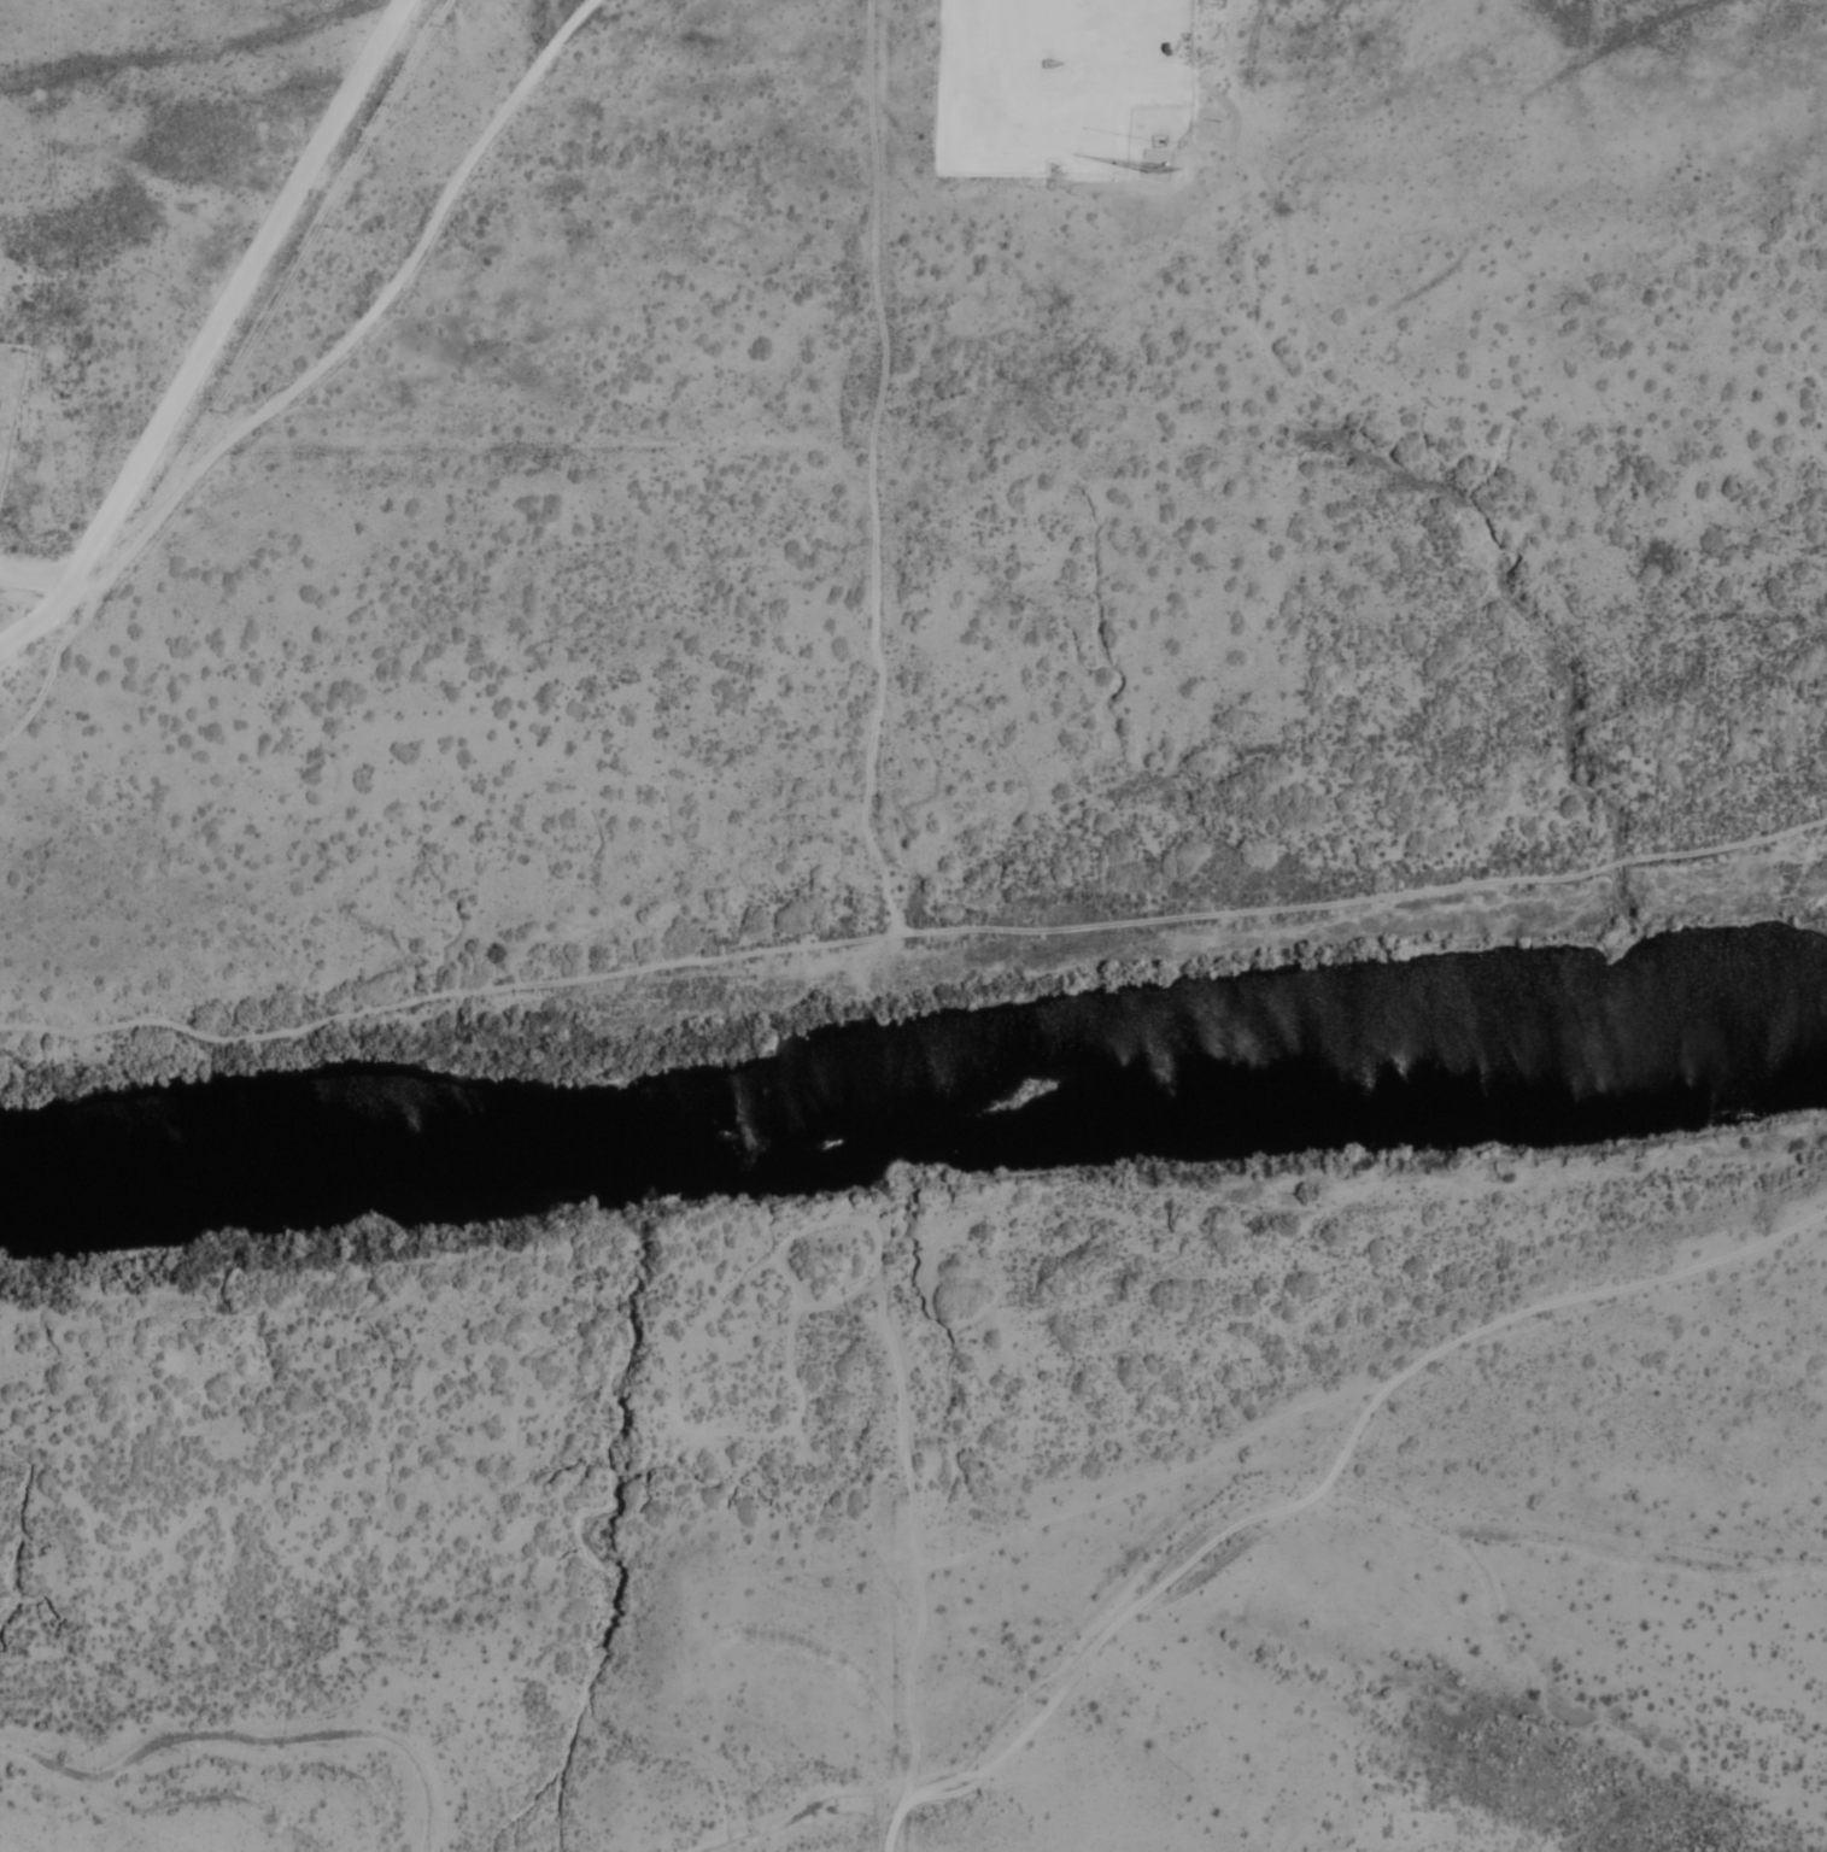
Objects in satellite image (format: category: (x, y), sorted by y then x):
road: (303, 381)
road: (873, 468)
road: (49, 587)
road: (910, 933)
river: (912, 1091)
road: (1372, 1390)
road: (917, 1569)
road: (1134, 1614)

